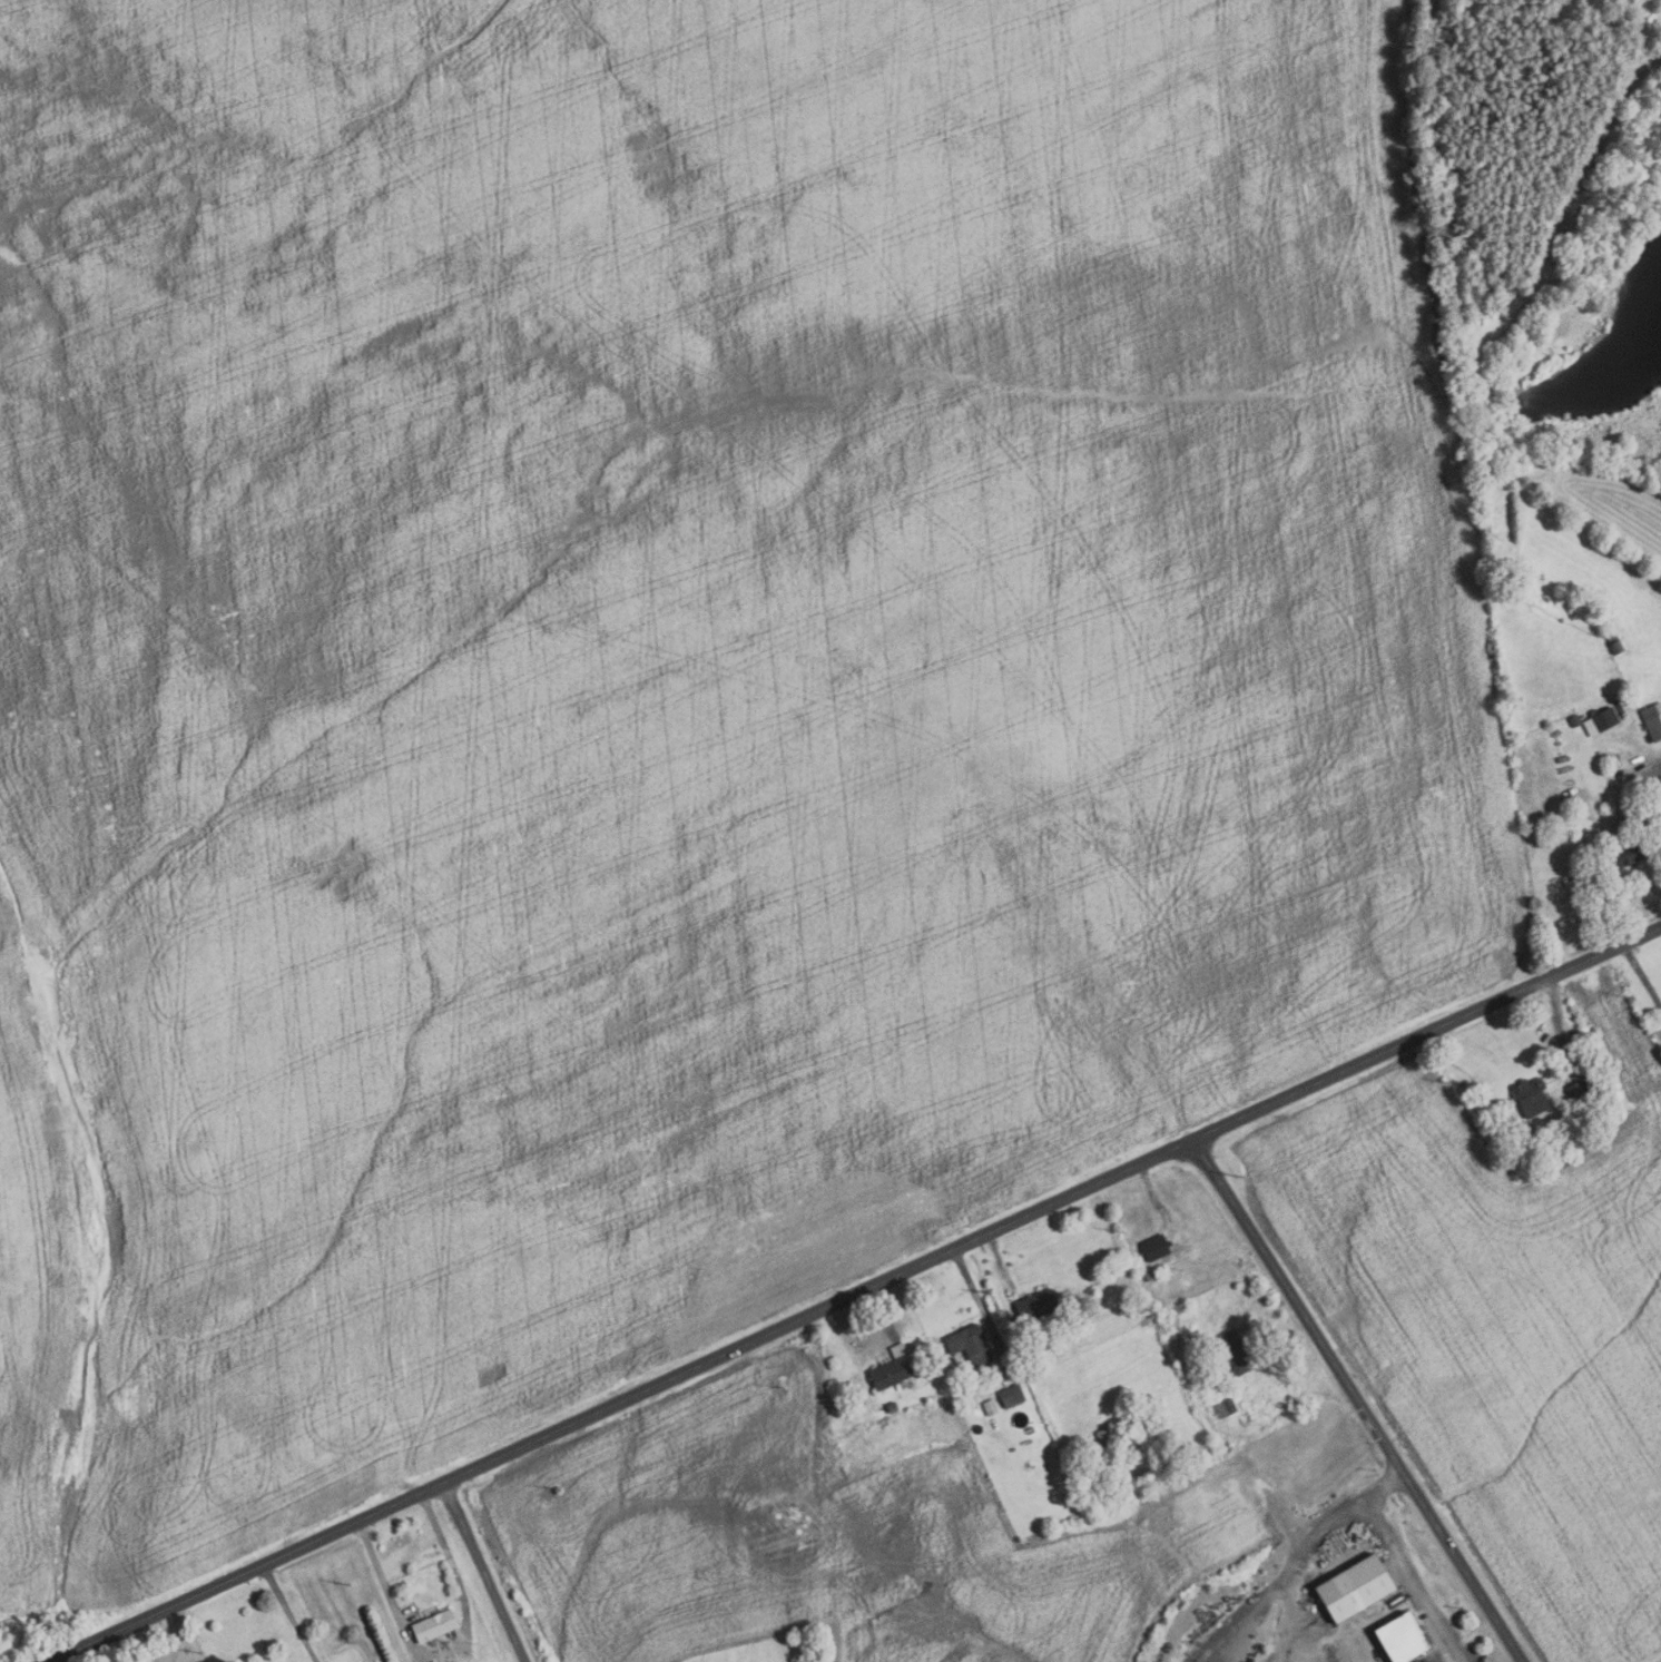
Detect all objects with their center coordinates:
building: (1567, 244)
building: (1591, 253)
building: (1614, 642)
building: (1575, 719)
building: (1653, 720)
building: (1602, 721)
building: (1639, 823)
building: (1626, 856)
road: (1642, 974)
power tower: (1632, 995)
road: (1560, 1016)
power tower: (1449, 1081)
building: (1593, 1082)
building: (1576, 1090)
building: (1532, 1095)
power tower: (1244, 1177)
road: (1156, 1198)
power tower: (1123, 1232)
building: (1187, 1245)
building: (1156, 1248)
road: (1001, 1265)
building: (1148, 1276)
road: (857, 1294)
power tower: (991, 1296)
road: (981, 1305)
building: (1035, 1306)
building: (1147, 1308)
road: (884, 1310)
building: (971, 1345)
building: (1236, 1353)
building: (896, 1368)
power tower: (783, 1388)
building: (1012, 1396)
road: (1360, 1399)
building: (892, 1407)
building: (991, 1407)
building: (1226, 1409)
building: (1105, 1433)
power tower: (559, 1489)
building: (883, 1496)
road: (1400, 1560)
road: (1298, 1566)
road: (485, 1572)
power tower: (352, 1585)
building: (1356, 1587)
road: (291, 1613)
building: (435, 1625)
building: (1404, 1638)
road: (446, 1650)
power tower: (204, 1653)
building: (802, 1661)

